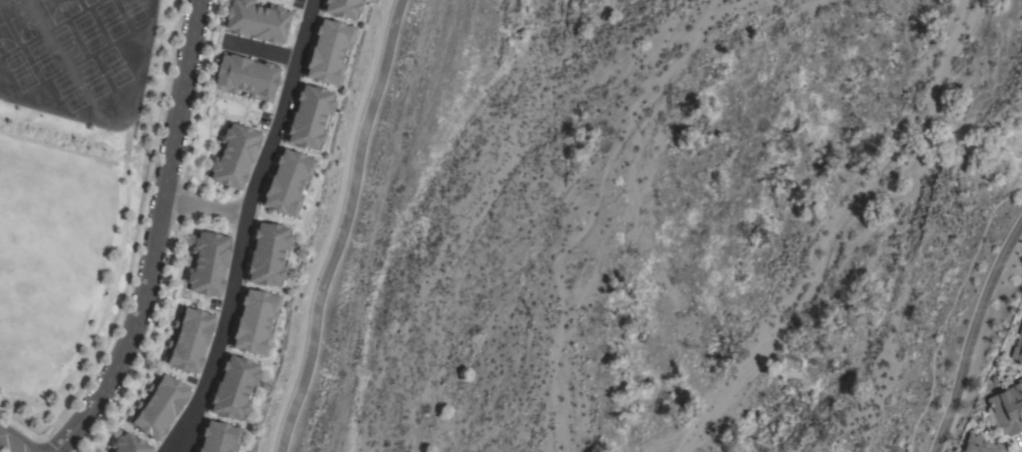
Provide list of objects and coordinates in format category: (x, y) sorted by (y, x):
building: (341, 8)
building: (256, 21)
road: (263, 51)
building: (327, 52)
building: (245, 77)
building: (308, 117)
building: (234, 156)
building: (286, 182)
road: (204, 209)
road: (245, 223)
road: (341, 226)
road: (154, 238)
building: (267, 254)
building: (207, 264)
building: (254, 322)
building: (1020, 331)
road: (971, 333)
building: (190, 341)
building: (1016, 352)
building: (233, 388)
building: (159, 408)
building: (1008, 409)
road: (17, 438)
building: (218, 438)
building: (128, 444)
building: (980, 445)
road: (173, 449)
road: (181, 449)
building: (959, 451)

